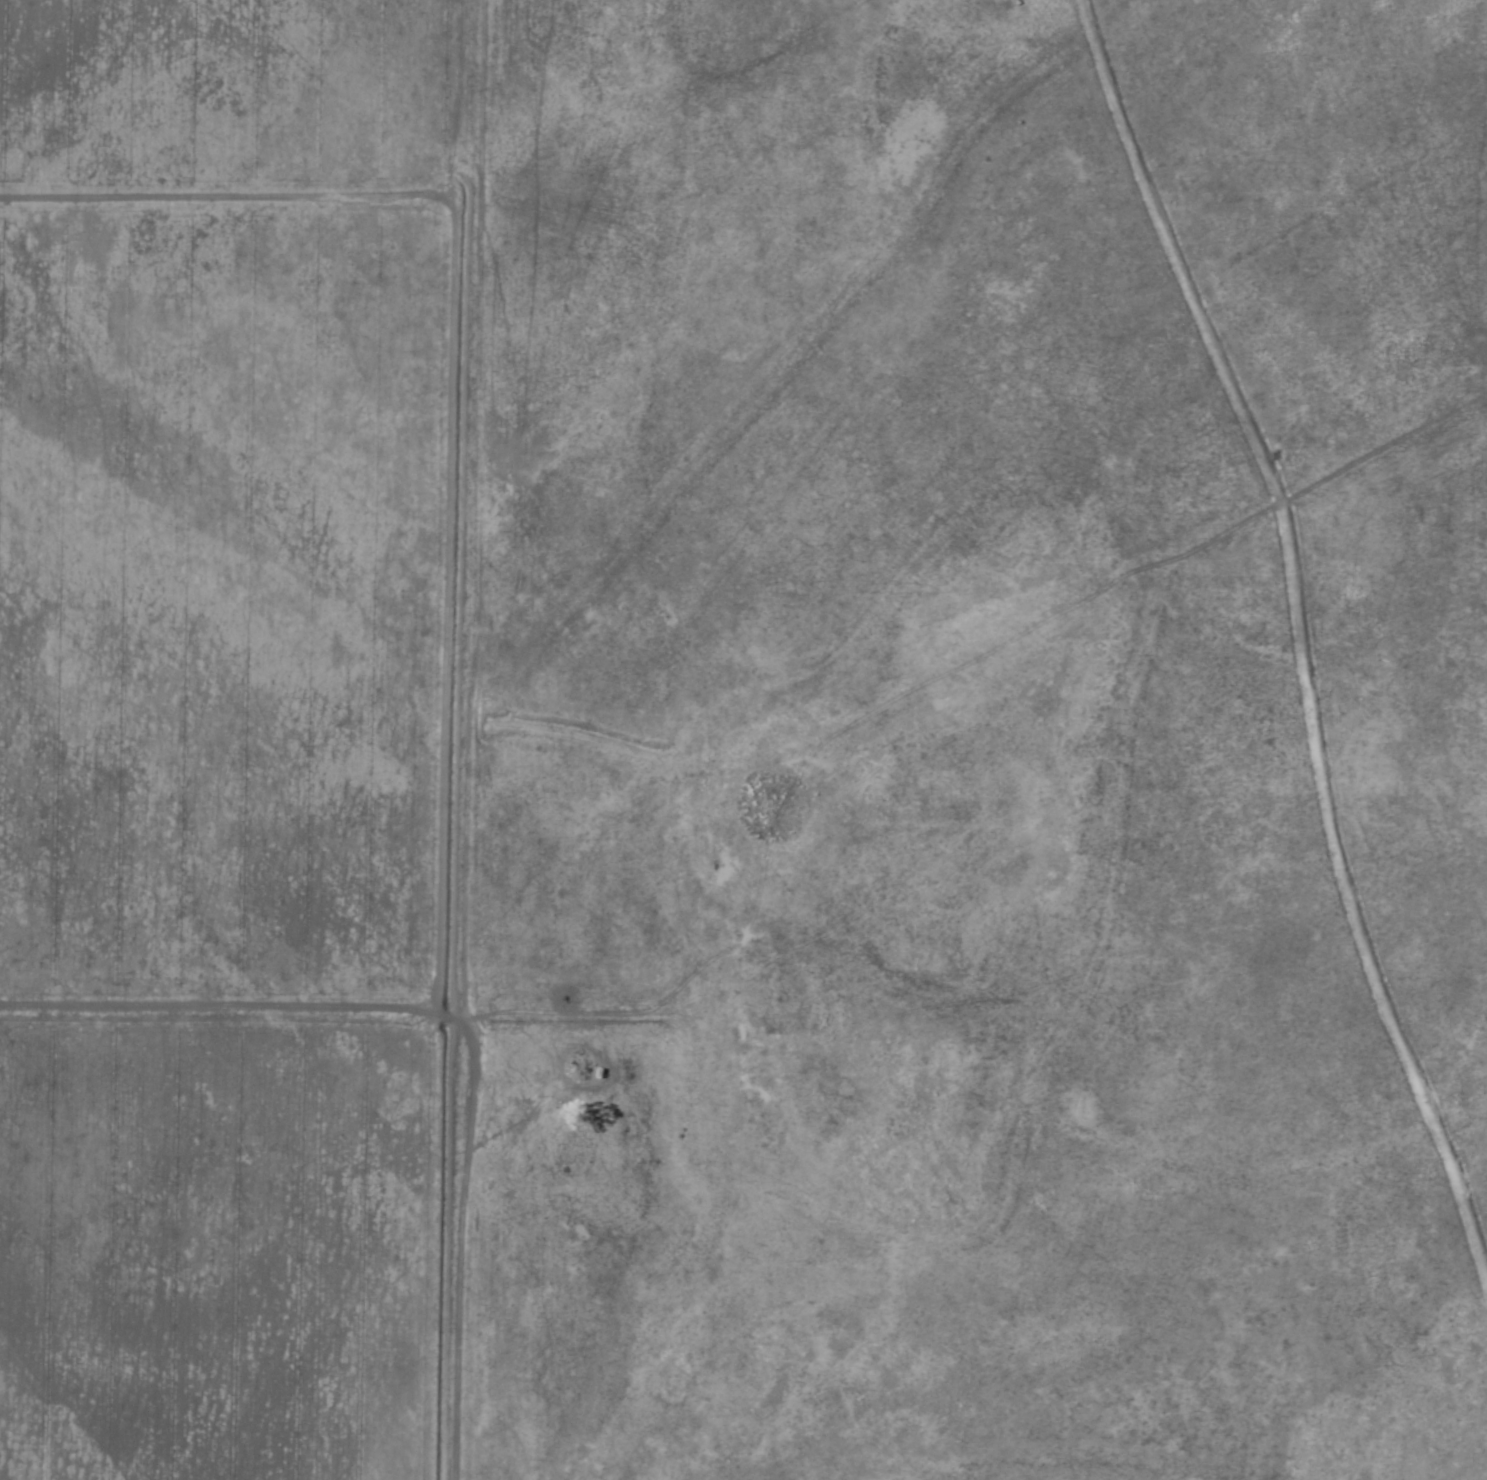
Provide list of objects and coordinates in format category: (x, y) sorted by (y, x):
road: (200, 228)
road: (401, 631)
crop: (238, 732)
road: (447, 1048)

